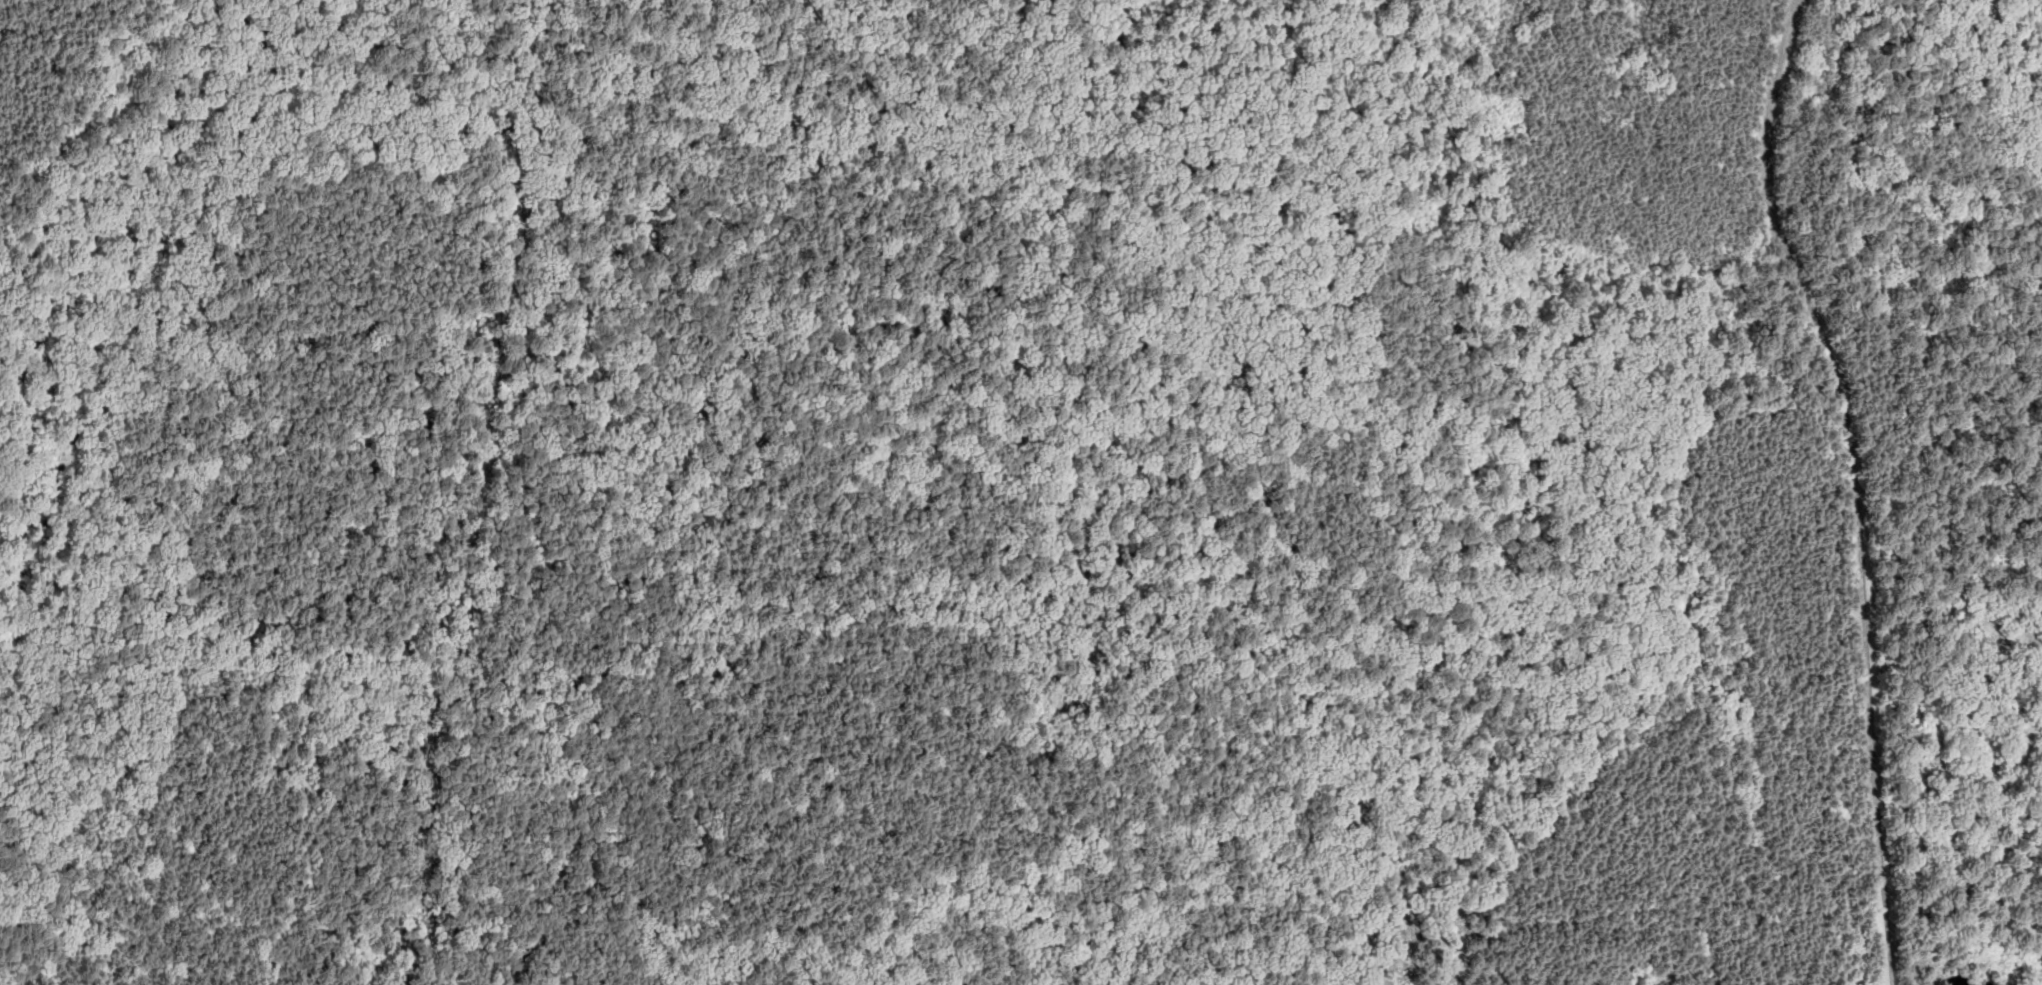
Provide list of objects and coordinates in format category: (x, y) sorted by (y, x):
road: (1857, 484)

